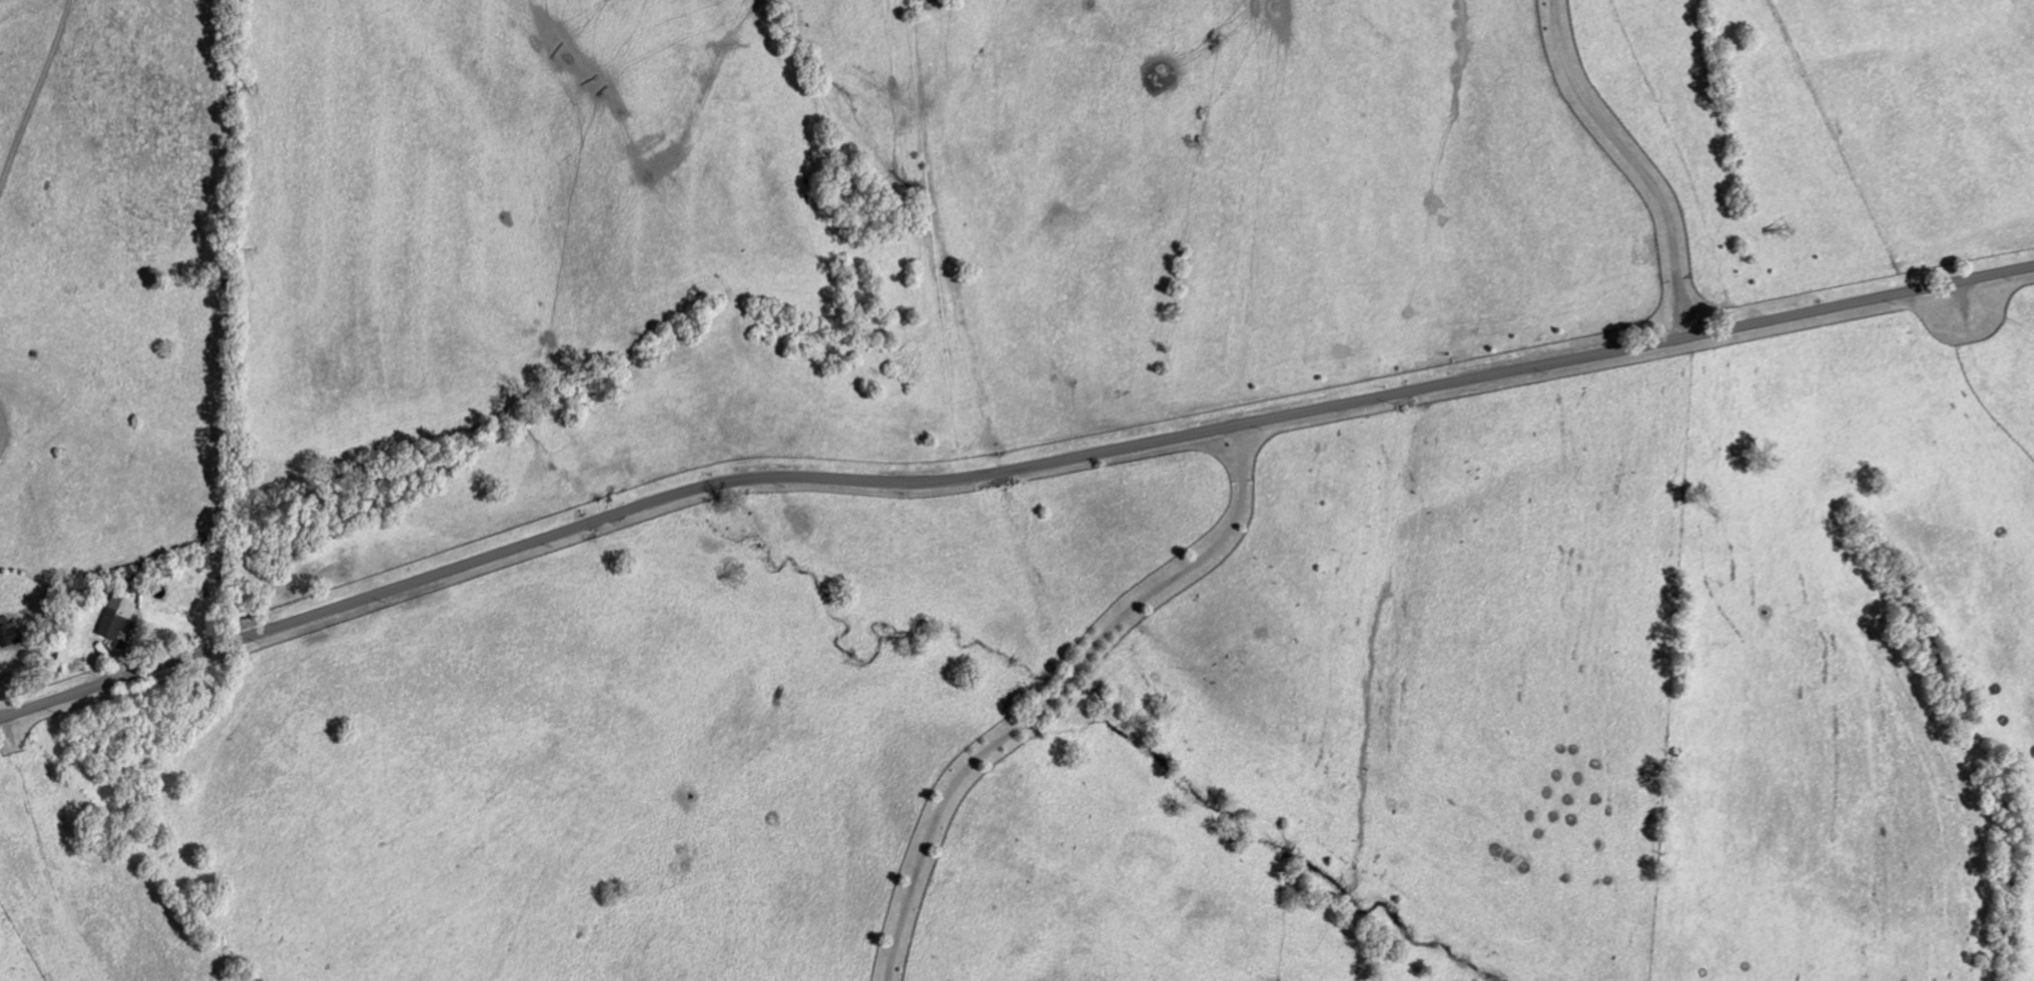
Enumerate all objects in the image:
road: (34, 91)
road: (1632, 163)
road: (1007, 472)
building: (112, 618)
building: (6, 633)
road: (1053, 694)
road: (2, 708)

